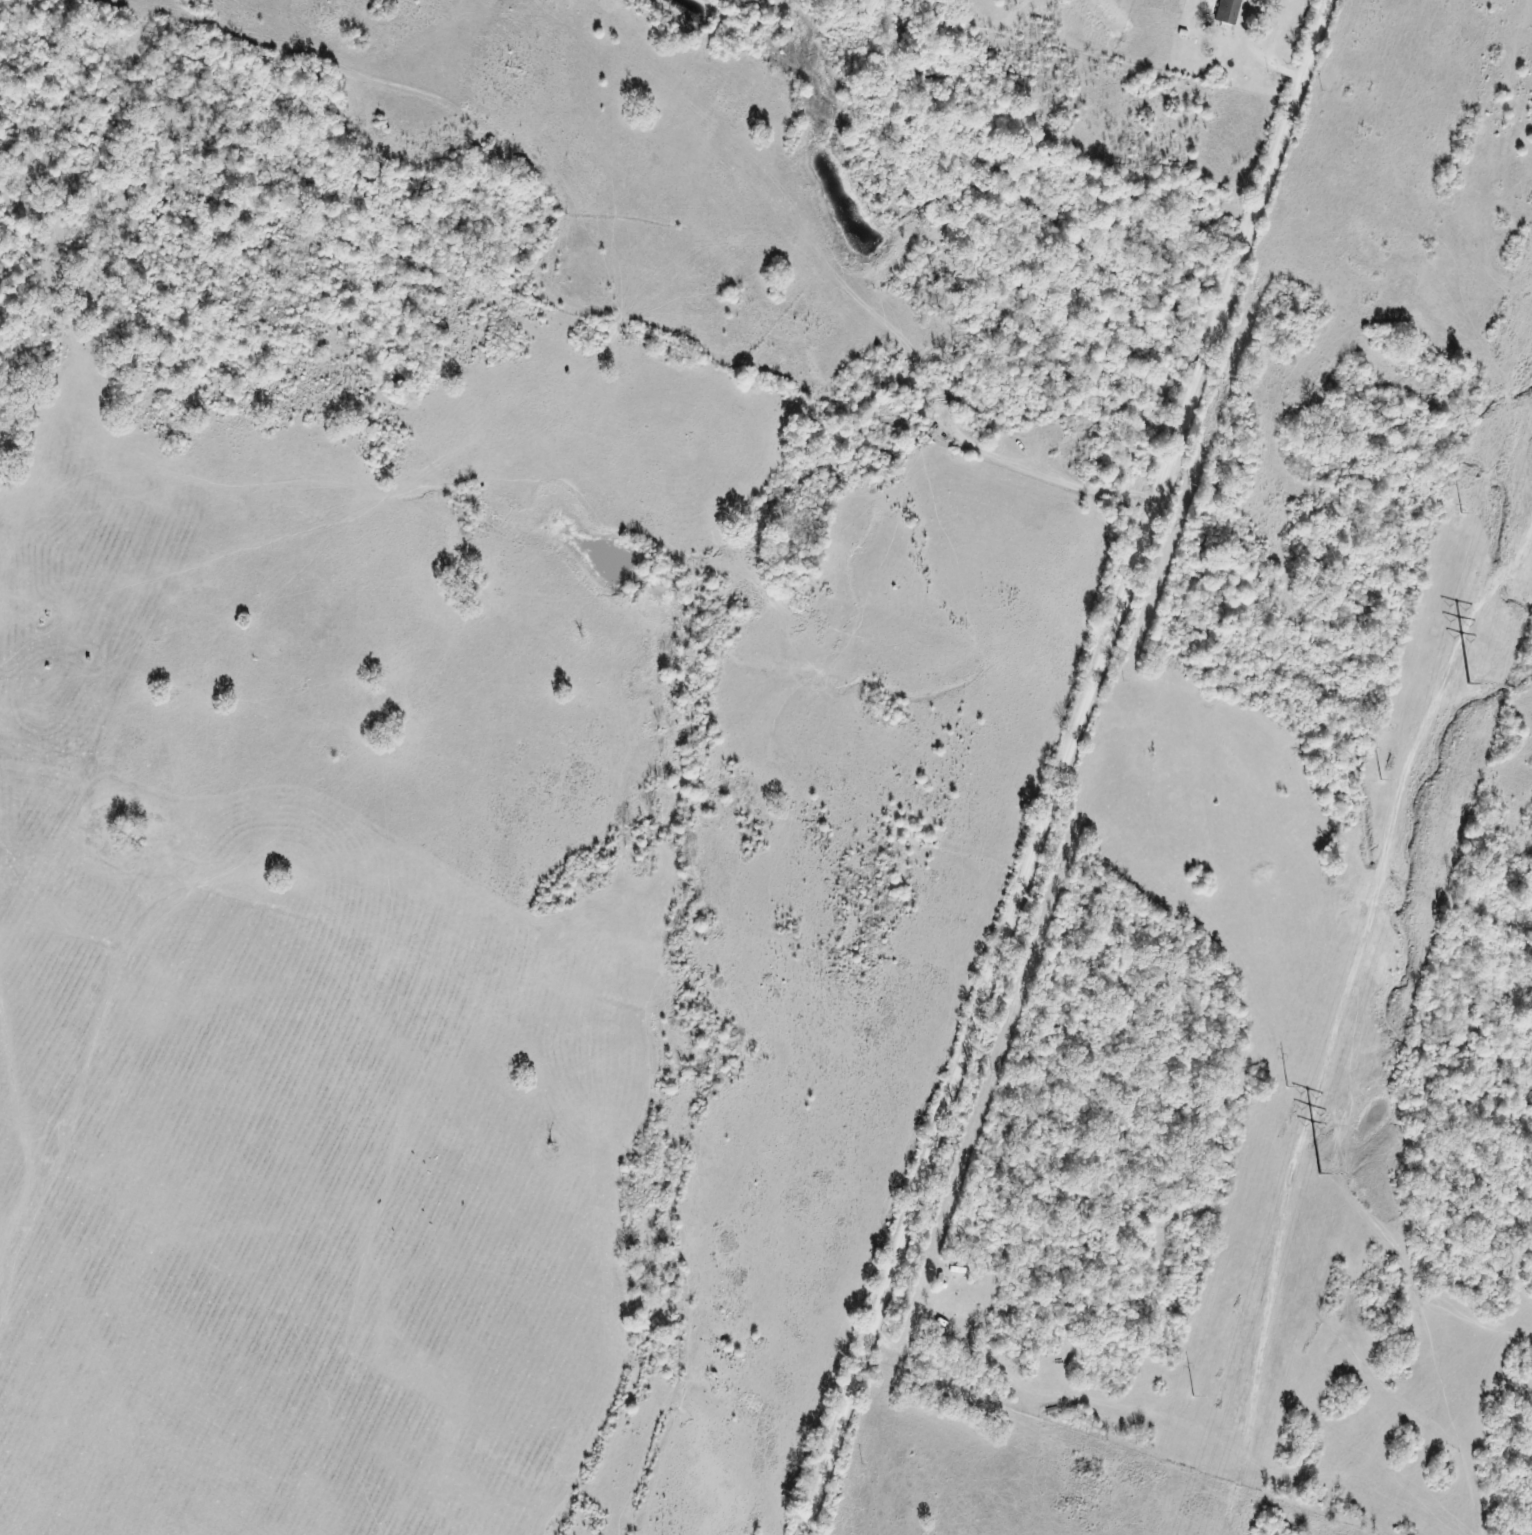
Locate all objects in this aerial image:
building: (1230, 11)
power tower: (1463, 511)
road: (1073, 767)
power tower: (1381, 780)
power tower: (1286, 1087)
power tower: (1193, 1396)

